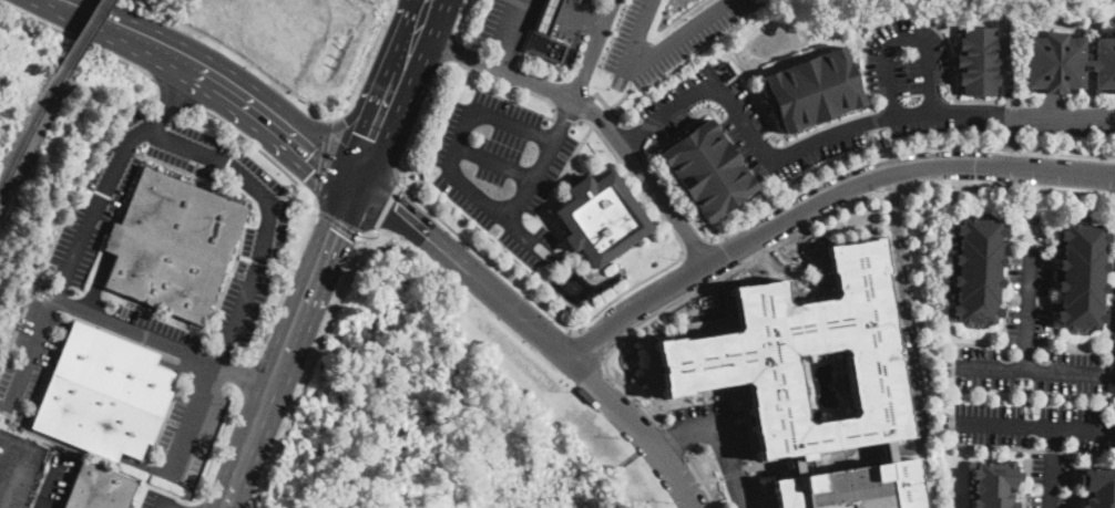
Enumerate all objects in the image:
building: (575, 1)
gas station: (575, 1)
road: (583, 9)
building: (548, 15)
gas station: (548, 15)
road: (460, 18)
road: (576, 18)
parking lot: (497, 23)
road: (513, 23)
road: (595, 25)
road: (416, 33)
road: (901, 37)
railway: (83, 38)
road: (76, 39)
parking lot: (663, 39)
building: (545, 46)
road: (865, 46)
road: (450, 49)
road: (592, 49)
road: (501, 58)
road: (652, 58)
building: (975, 60)
building: (1067, 63)
road: (215, 77)
road: (503, 83)
building: (817, 89)
road: (1088, 89)
road: (175, 92)
road: (176, 92)
road: (624, 97)
parking lot: (702, 100)
road: (604, 104)
road: (1087, 104)
road: (586, 108)
road: (591, 111)
road: (564, 114)
road: (350, 115)
road: (710, 115)
road: (1063, 116)
road: (564, 117)
road: (874, 117)
road: (419, 121)
road: (378, 124)
road: (512, 126)
railway: (30, 136)
traffic signals: (372, 138)
road: (457, 141)
road: (816, 141)
road: (881, 141)
road: (366, 144)
road: (264, 152)
traffic signals: (315, 152)
road: (321, 159)
road: (494, 162)
road: (847, 164)
parking lot: (500, 166)
building: (704, 168)
road: (533, 177)
road: (632, 179)
road: (890, 190)
road: (821, 196)
road: (1033, 196)
road: (383, 206)
traffic signals: (395, 211)
road: (498, 212)
building: (184, 216)
building: (601, 216)
road: (852, 218)
road: (544, 222)
road: (338, 226)
road: (1035, 226)
traffic signals: (334, 229)
road: (807, 237)
parking lot: (81, 239)
road: (696, 245)
road: (908, 248)
road: (73, 256)
road: (488, 259)
building: (978, 271)
road: (255, 272)
building: (161, 273)
road: (819, 276)
building: (1082, 277)
road: (770, 279)
road: (1004, 287)
road: (627, 289)
road: (1051, 291)
road: (695, 292)
road: (694, 309)
road: (1027, 310)
road: (909, 319)
road: (715, 328)
road: (539, 330)
road: (135, 333)
parking lot: (154, 333)
parking lot: (1111, 333)
road: (590, 342)
road: (288, 344)
road: (971, 345)
building: (744, 348)
road: (912, 351)
road: (1078, 351)
parking lot: (31, 356)
road: (653, 362)
road: (309, 369)
building: (113, 370)
road: (1036, 371)
road: (245, 376)
road: (739, 388)
parking lot: (1035, 391)
road: (1022, 397)
building: (93, 421)
road: (1036, 427)
parking lot: (188, 433)
parking lot: (719, 438)
road: (672, 439)
road: (667, 442)
road: (983, 446)
road: (725, 448)
road: (1052, 449)
road: (1088, 453)
road: (766, 464)
parking lot: (19, 467)
road: (1051, 468)
road: (732, 471)
road: (1027, 471)
road: (1074, 473)
road: (14, 476)
road: (708, 476)
road: (700, 480)
building: (993, 484)
road: (58, 485)
building: (852, 487)
building: (1098, 487)
building: (99, 488)
road: (757, 491)
parking garage: (856, 491)
parking lot: (158, 500)
road: (760, 505)
road: (163, 506)
road: (168, 506)

